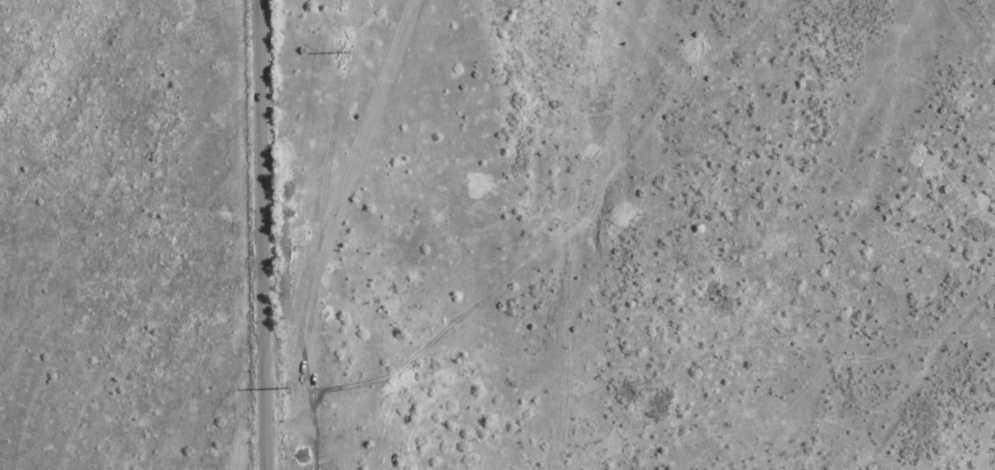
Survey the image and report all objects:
road: (851, 106)
road: (550, 190)
road: (445, 230)
road: (626, 231)
road: (263, 235)
road: (864, 412)

